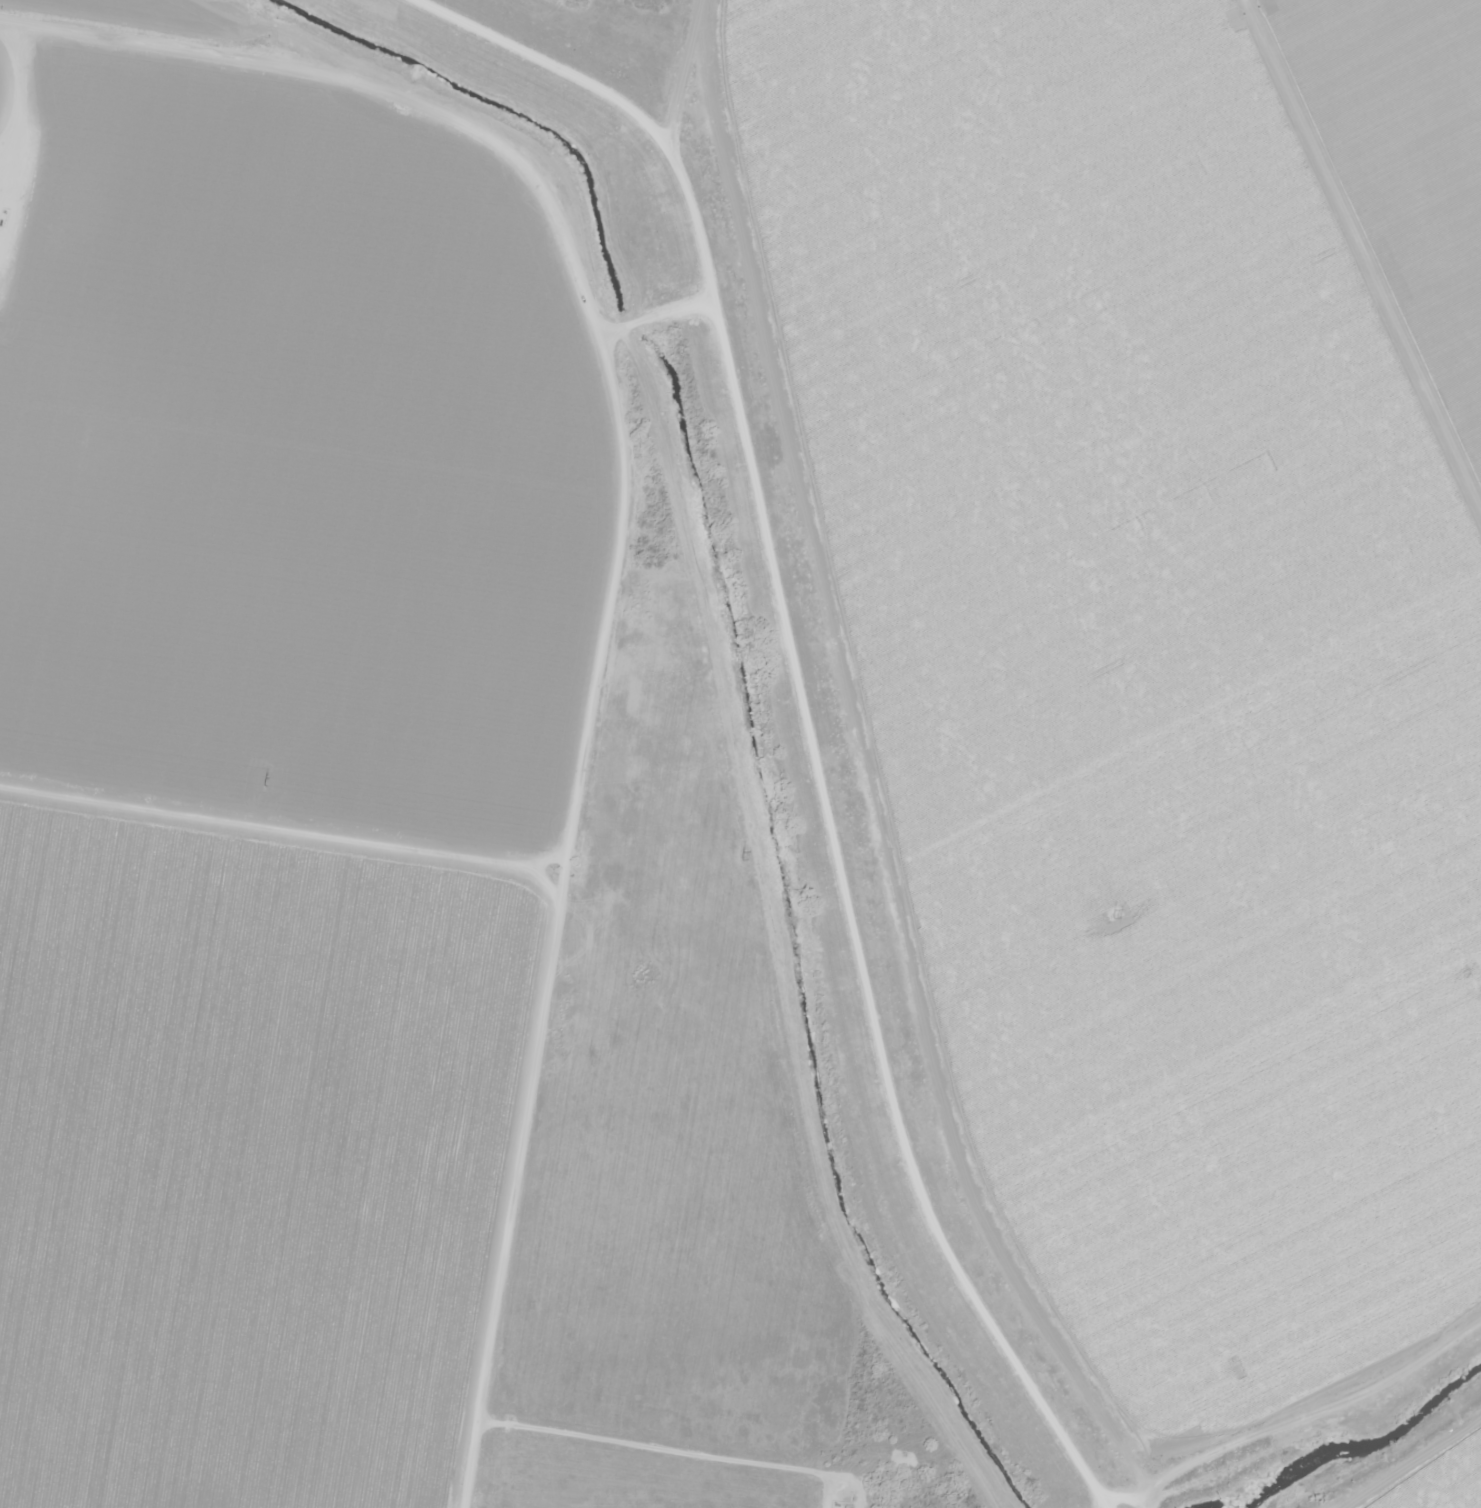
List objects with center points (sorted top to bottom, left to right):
road: (198, 66)
road: (1403, 250)
road: (965, 700)
road: (599, 756)
power tower: (265, 781)
power tower: (743, 856)
power tower: (1113, 913)
road: (866, 946)
road: (687, 1440)
road: (1100, 1482)

